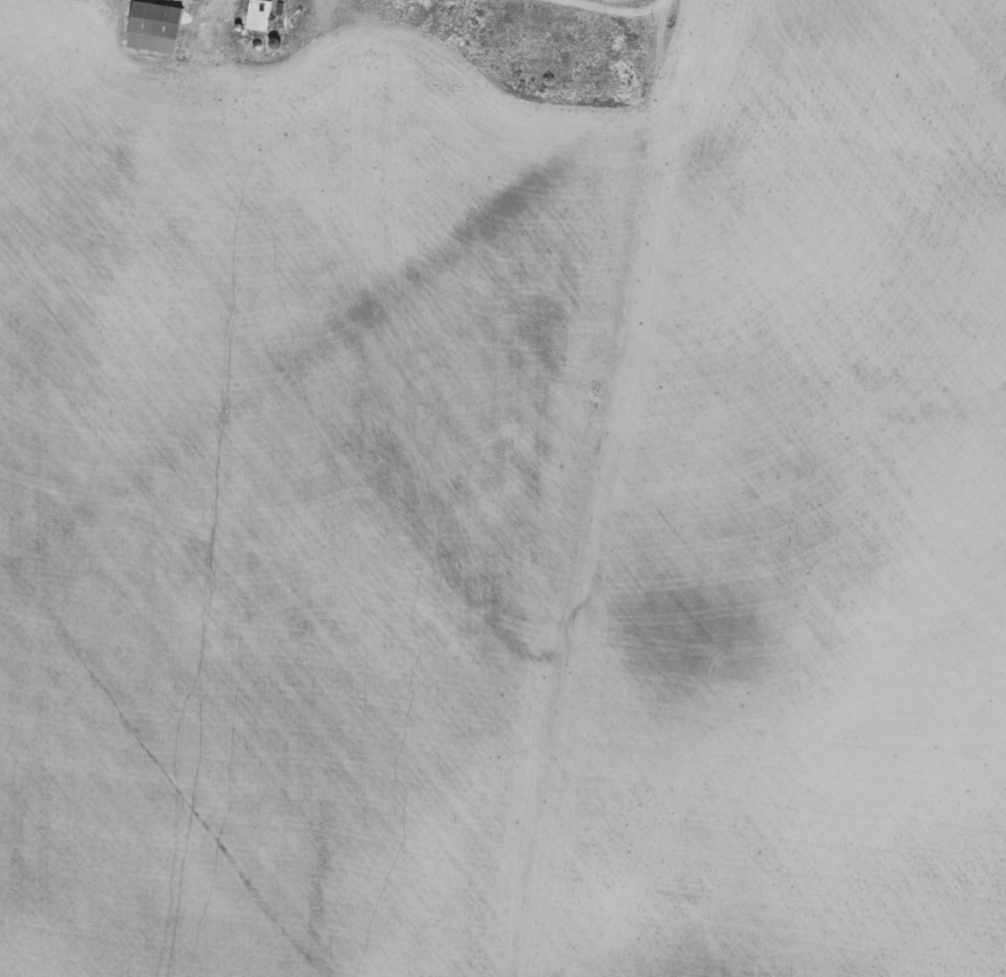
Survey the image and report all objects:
road: (587, 1)
building: (257, 15)
building: (152, 27)
road: (584, 488)
crop: (801, 518)

